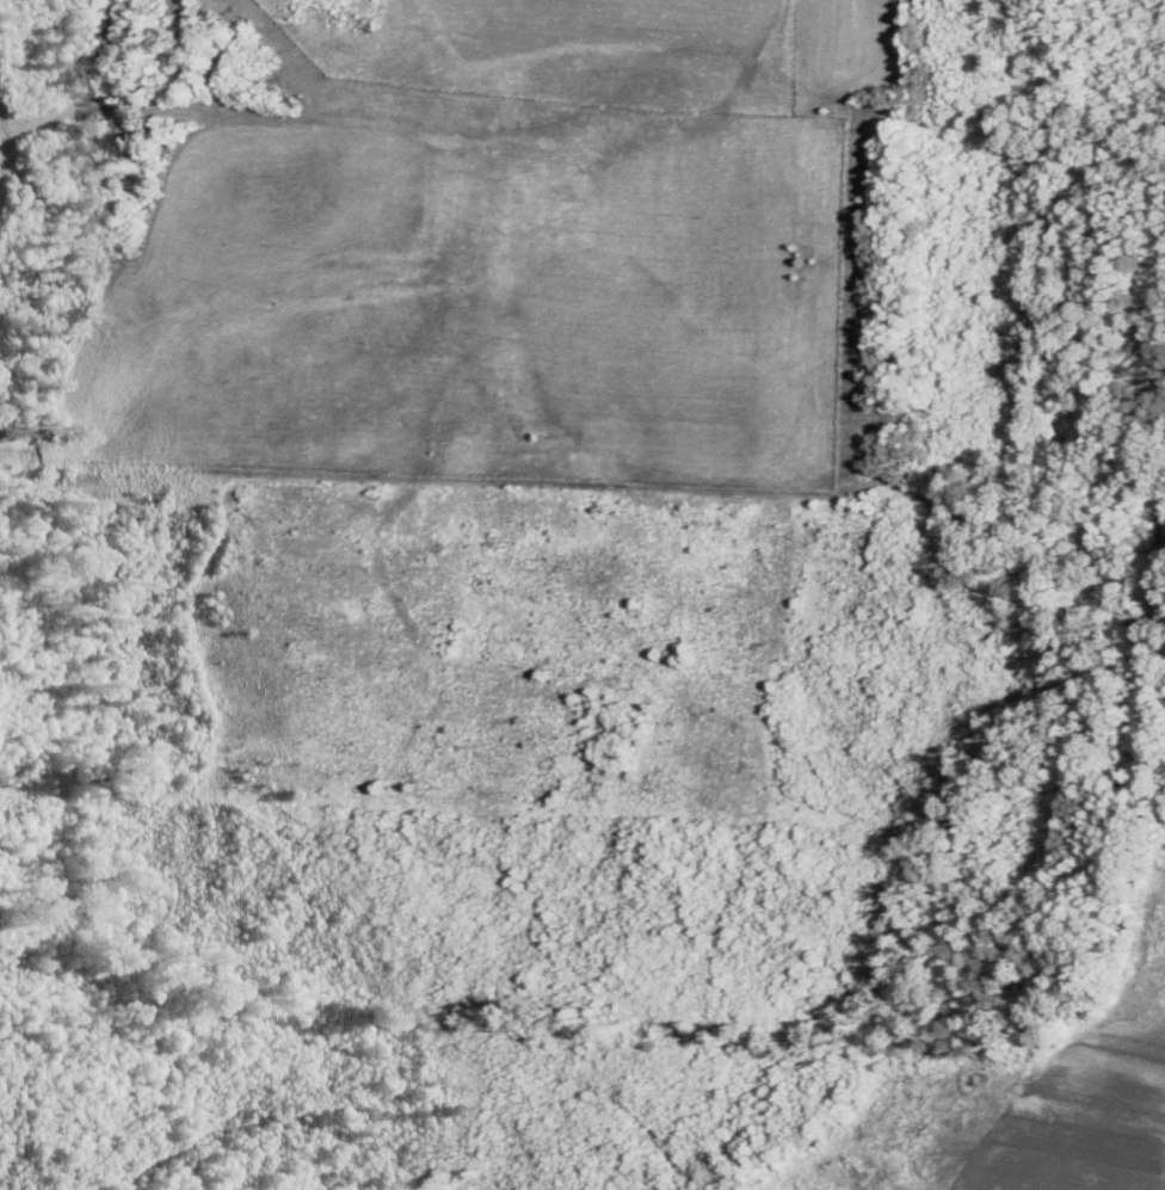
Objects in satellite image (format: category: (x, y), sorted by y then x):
road: (1158, 547)

